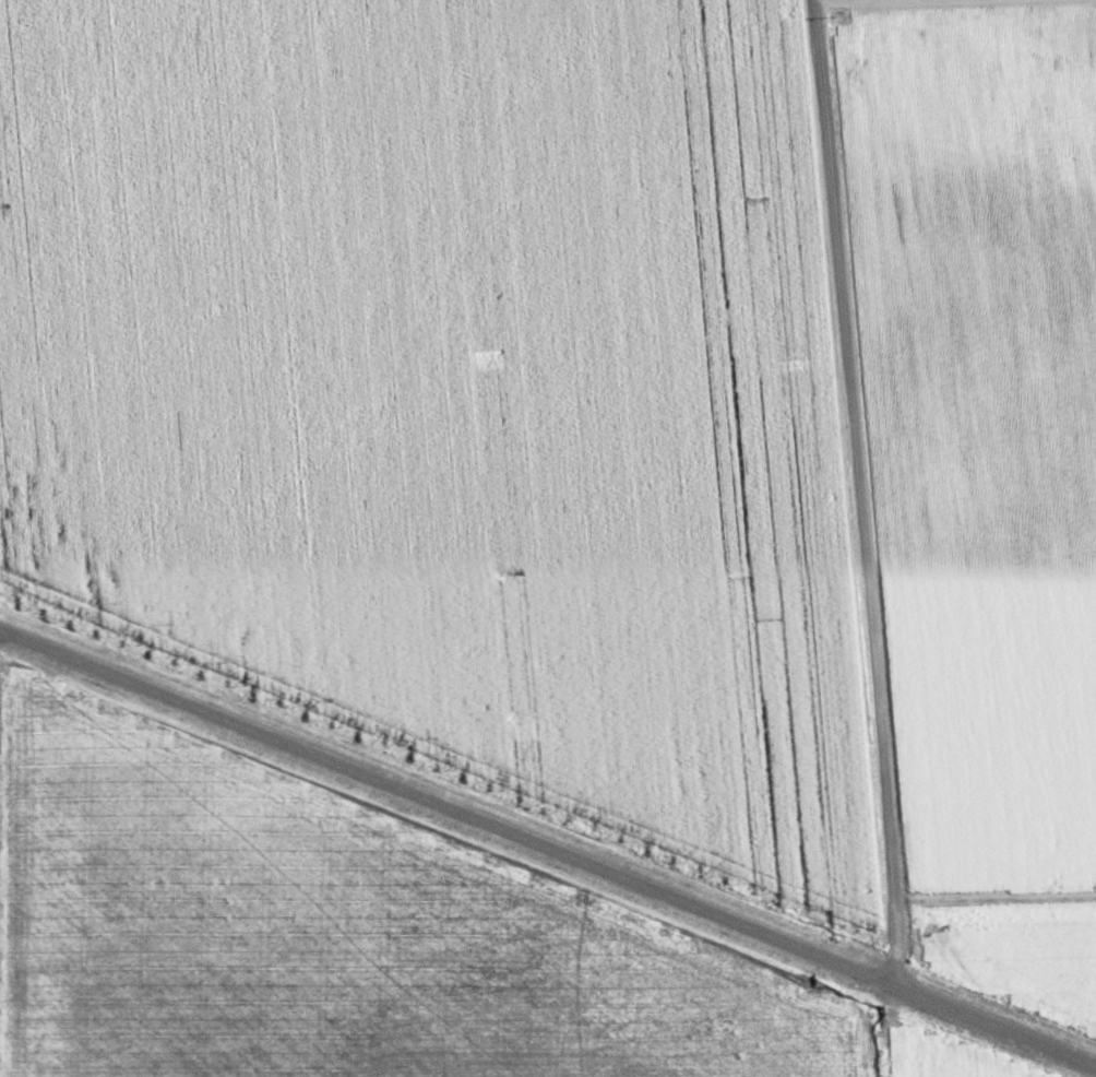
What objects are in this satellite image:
road: (891, 1)
road: (849, 492)
road: (548, 848)

